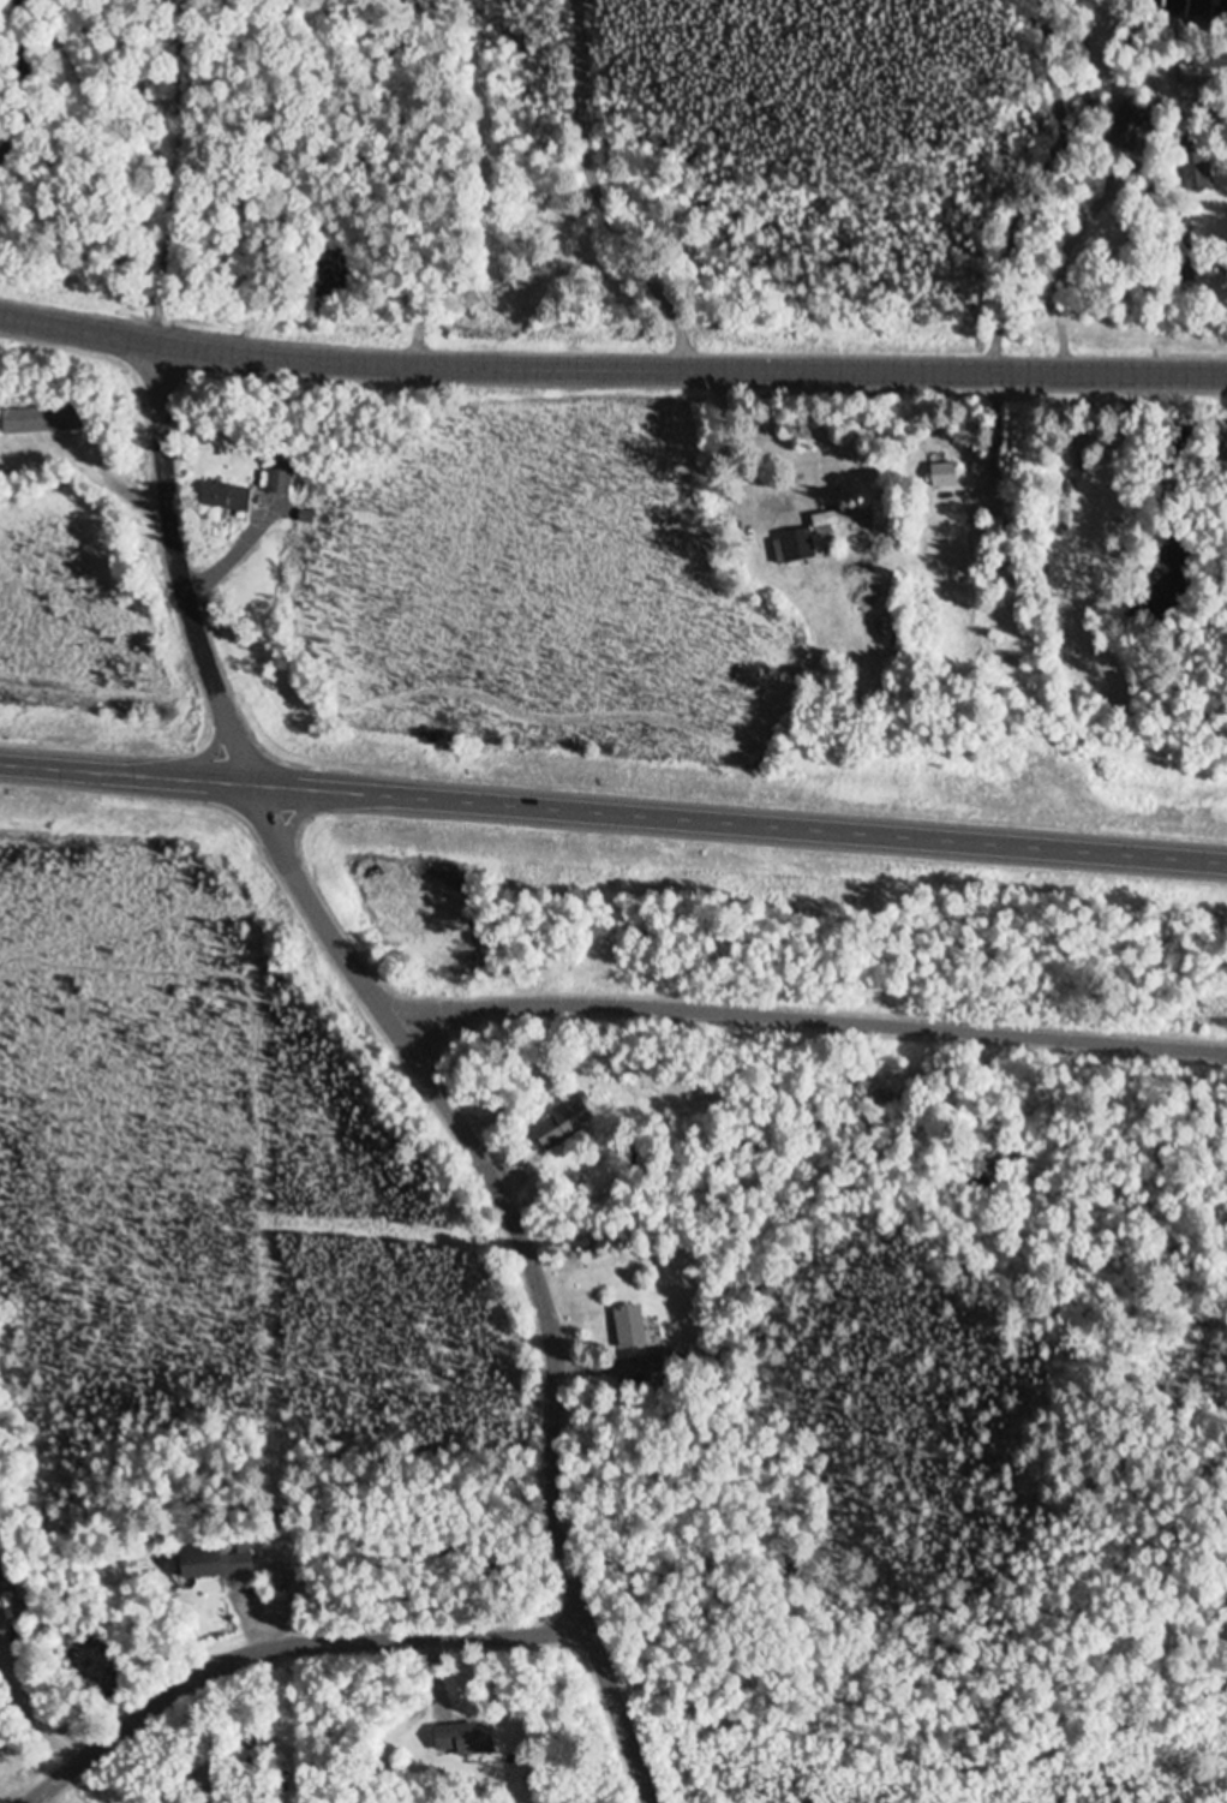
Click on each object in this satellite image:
building: (1214, 61)
building: (1127, 130)
building: (1195, 168)
road: (611, 370)
building: (40, 420)
building: (944, 477)
building: (277, 482)
building: (225, 498)
building: (838, 519)
building: (792, 548)
road: (613, 816)
road: (324, 925)
road: (803, 1039)
building: (567, 1121)
building: (629, 1327)
building: (216, 1564)
building: (6, 1578)
road: (277, 1640)
building: (463, 1741)

